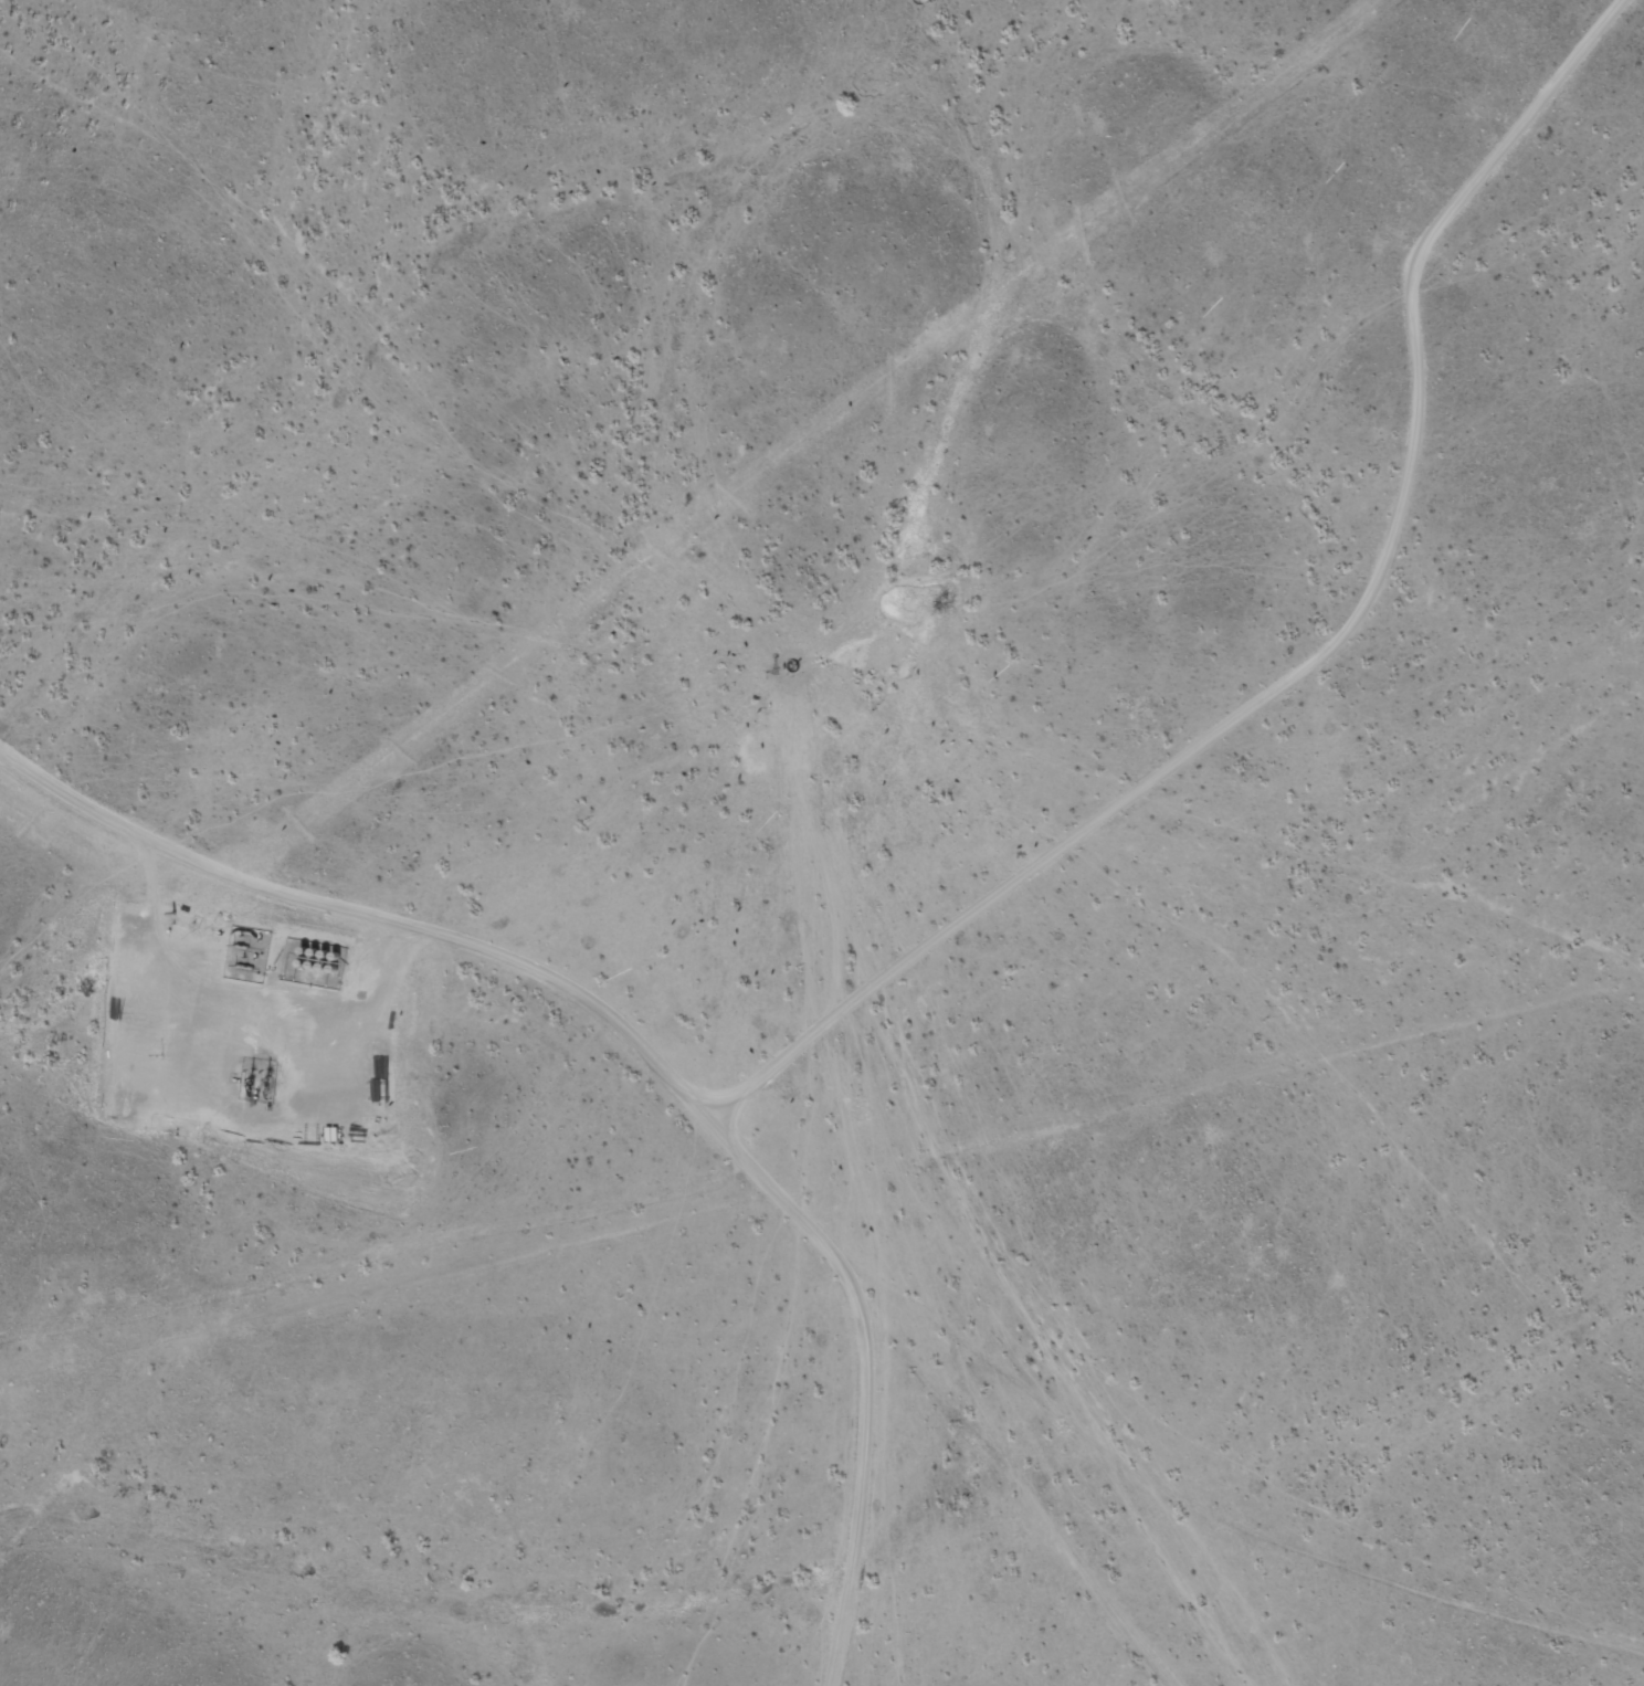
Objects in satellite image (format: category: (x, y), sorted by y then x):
road: (642, 1118)
road: (1250, 1431)

